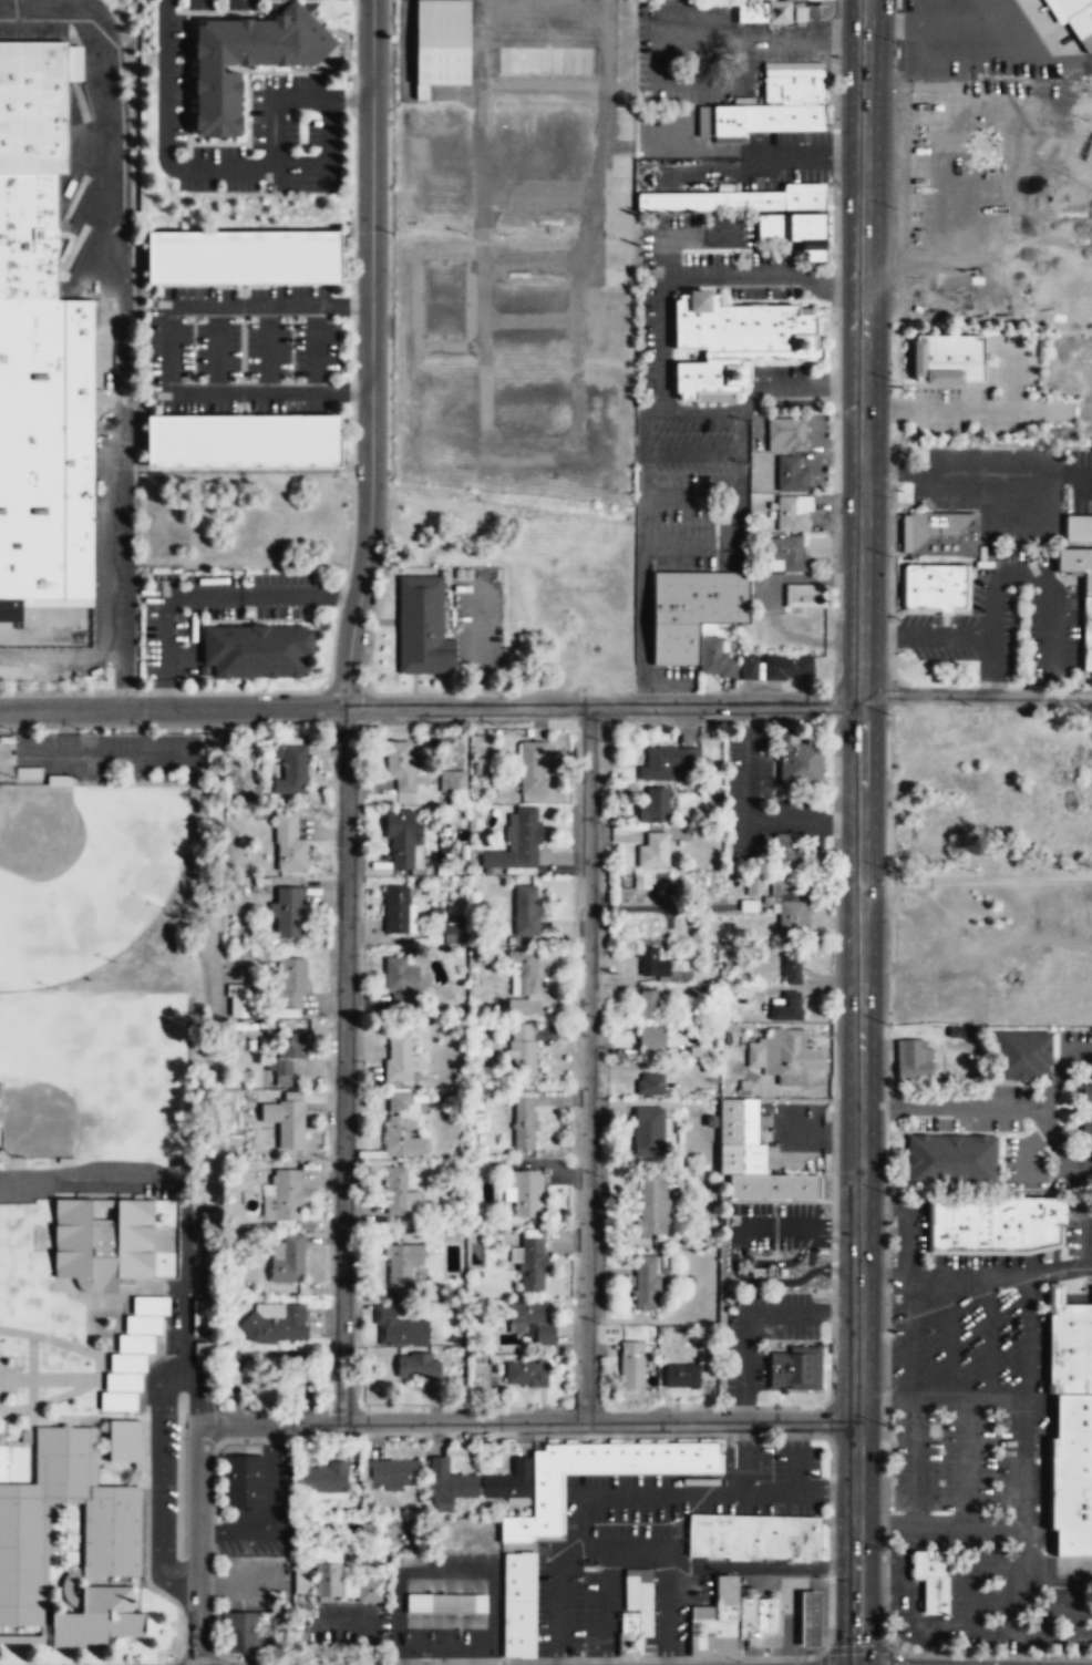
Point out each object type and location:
road: (38, 3)
parking lot: (223, 4)
building: (1067, 8)
building: (762, 12)
building: (799, 13)
road: (939, 21)
parking lot: (33, 28)
building: (440, 41)
street lamp: (895, 45)
building: (544, 59)
building: (248, 60)
building: (792, 83)
parking lot: (299, 97)
building: (34, 105)
building: (756, 117)
road: (329, 142)
road: (223, 169)
building: (738, 198)
building: (794, 230)
building: (29, 235)
building: (246, 256)
road: (831, 285)
road: (269, 304)
street lamp: (834, 310)
road: (662, 316)
building: (735, 339)
road: (166, 347)
road: (218, 347)
road: (267, 347)
road: (315, 347)
road: (122, 350)
road: (371, 354)
building: (949, 357)
road: (1012, 380)
street lamp: (892, 387)
road: (782, 388)
road: (268, 390)
road: (835, 391)
road: (750, 401)
road: (887, 401)
road: (968, 408)
street lamp: (837, 411)
building: (785, 434)
building: (245, 441)
building: (47, 449)
road: (712, 450)
road: (979, 470)
road: (741, 471)
road: (1063, 471)
building: (791, 474)
street lamp: (889, 497)
building: (789, 515)
road: (738, 520)
building: (1078, 527)
building: (905, 532)
building: (941, 532)
road: (642, 549)
building: (787, 553)
road: (1024, 568)
building: (934, 584)
building: (803, 595)
road: (303, 597)
building: (692, 609)
building: (1088, 620)
building: (421, 625)
road: (926, 635)
building: (255, 648)
building: (714, 657)
road: (61, 661)
parking lot: (52, 664)
building: (787, 667)
building: (750, 672)
road: (976, 695)
road: (606, 705)
road: (174, 710)
road: (862, 710)
road: (44, 754)
road: (107, 756)
parking lot: (112, 756)
building: (797, 760)
building: (666, 761)
building: (400, 765)
building: (533, 768)
building: (292, 771)
building: (60, 779)
building: (455, 780)
building: (653, 805)
road: (749, 818)
road: (749, 837)
building: (402, 840)
building: (516, 842)
building: (289, 845)
building: (786, 850)
building: (652, 851)
park: (84, 873)
road: (976, 880)
building: (656, 883)
building: (789, 906)
building: (399, 909)
building: (526, 911)
building: (288, 912)
building: (453, 933)
building: (651, 965)
building: (791, 969)
building: (522, 977)
building: (400, 981)
building: (292, 983)
building: (938, 993)
building: (239, 1001)
building: (516, 1006)
building: (648, 1006)
building: (786, 1007)
road: (919, 1030)
building: (961, 1031)
building: (650, 1038)
building: (522, 1051)
building: (781, 1052)
building: (287, 1055)
building: (400, 1057)
building: (1023, 1058)
building: (911, 1059)
road: (587, 1062)
road: (342, 1065)
road: (1060, 1072)
park: (97, 1080)
building: (649, 1083)
building: (1086, 1094)
building: (399, 1100)
road: (952, 1106)
building: (286, 1120)
building: (523, 1121)
building: (1086, 1128)
building: (649, 1132)
building: (403, 1135)
road: (1058, 1145)
building: (951, 1158)
parking lot: (1023, 1161)
building: (772, 1185)
road: (181, 1189)
building: (398, 1193)
building: (526, 1193)
road: (907, 1193)
building: (281, 1196)
road: (883, 1202)
building: (652, 1204)
building: (996, 1221)
road: (1086, 1235)
building: (102, 1242)
street lamp: (833, 1247)
road: (966, 1250)
road: (1047, 1253)
building: (534, 1257)
building: (287, 1258)
building: (401, 1263)
road: (1060, 1268)
road: (1045, 1271)
building: (762, 1272)
building: (648, 1283)
road: (1050, 1285)
road: (1053, 1296)
road: (909, 1299)
building: (202, 1316)
building: (530, 1322)
building: (272, 1324)
building: (399, 1329)
road: (950, 1337)
road: (989, 1337)
street lamp: (834, 1338)
building: (1074, 1348)
building: (204, 1353)
road: (1029, 1353)
building: (133, 1354)
building: (418, 1366)
building: (631, 1366)
road: (97, 1368)
building: (795, 1368)
road: (32, 1370)
building: (526, 1373)
building: (687, 1373)
road: (16, 1377)
road: (64, 1378)
road: (886, 1397)
road: (942, 1397)
road: (996, 1399)
road: (410, 1421)
road: (1052, 1428)
road: (786, 1436)
building: (124, 1441)
road: (162, 1448)
parking lot: (969, 1450)
road: (917, 1460)
road: (968, 1461)
building: (12, 1463)
road: (885, 1469)
building: (393, 1473)
building: (1073, 1474)
road: (744, 1480)
building: (324, 1481)
building: (243, 1483)
building: (508, 1483)
building: (447, 1486)
road: (795, 1486)
building: (546, 1494)
road: (573, 1500)
road: (939, 1524)
building: (752, 1535)
building: (110, 1539)
road: (856, 1542)
road: (905, 1550)
road: (756, 1564)
road: (1058, 1568)
building: (331, 1571)
building: (518, 1575)
building: (301, 1577)
road: (880, 1577)
building: (931, 1579)
road: (663, 1580)
road: (822, 1584)
road: (609, 1589)
building: (370, 1591)
road: (972, 1591)
building: (725, 1597)
road: (1020, 1601)
building: (446, 1605)
road: (916, 1605)
building: (635, 1611)
building: (746, 1611)
building: (702, 1612)
building: (765, 1614)
building: (808, 1617)
building: (96, 1618)
building: (517, 1627)
building: (253, 1632)
building: (712, 1636)
road: (786, 1641)
road: (1053, 1641)
road: (928, 1645)
road: (856, 1646)
road: (890, 1655)
road: (822, 1657)

